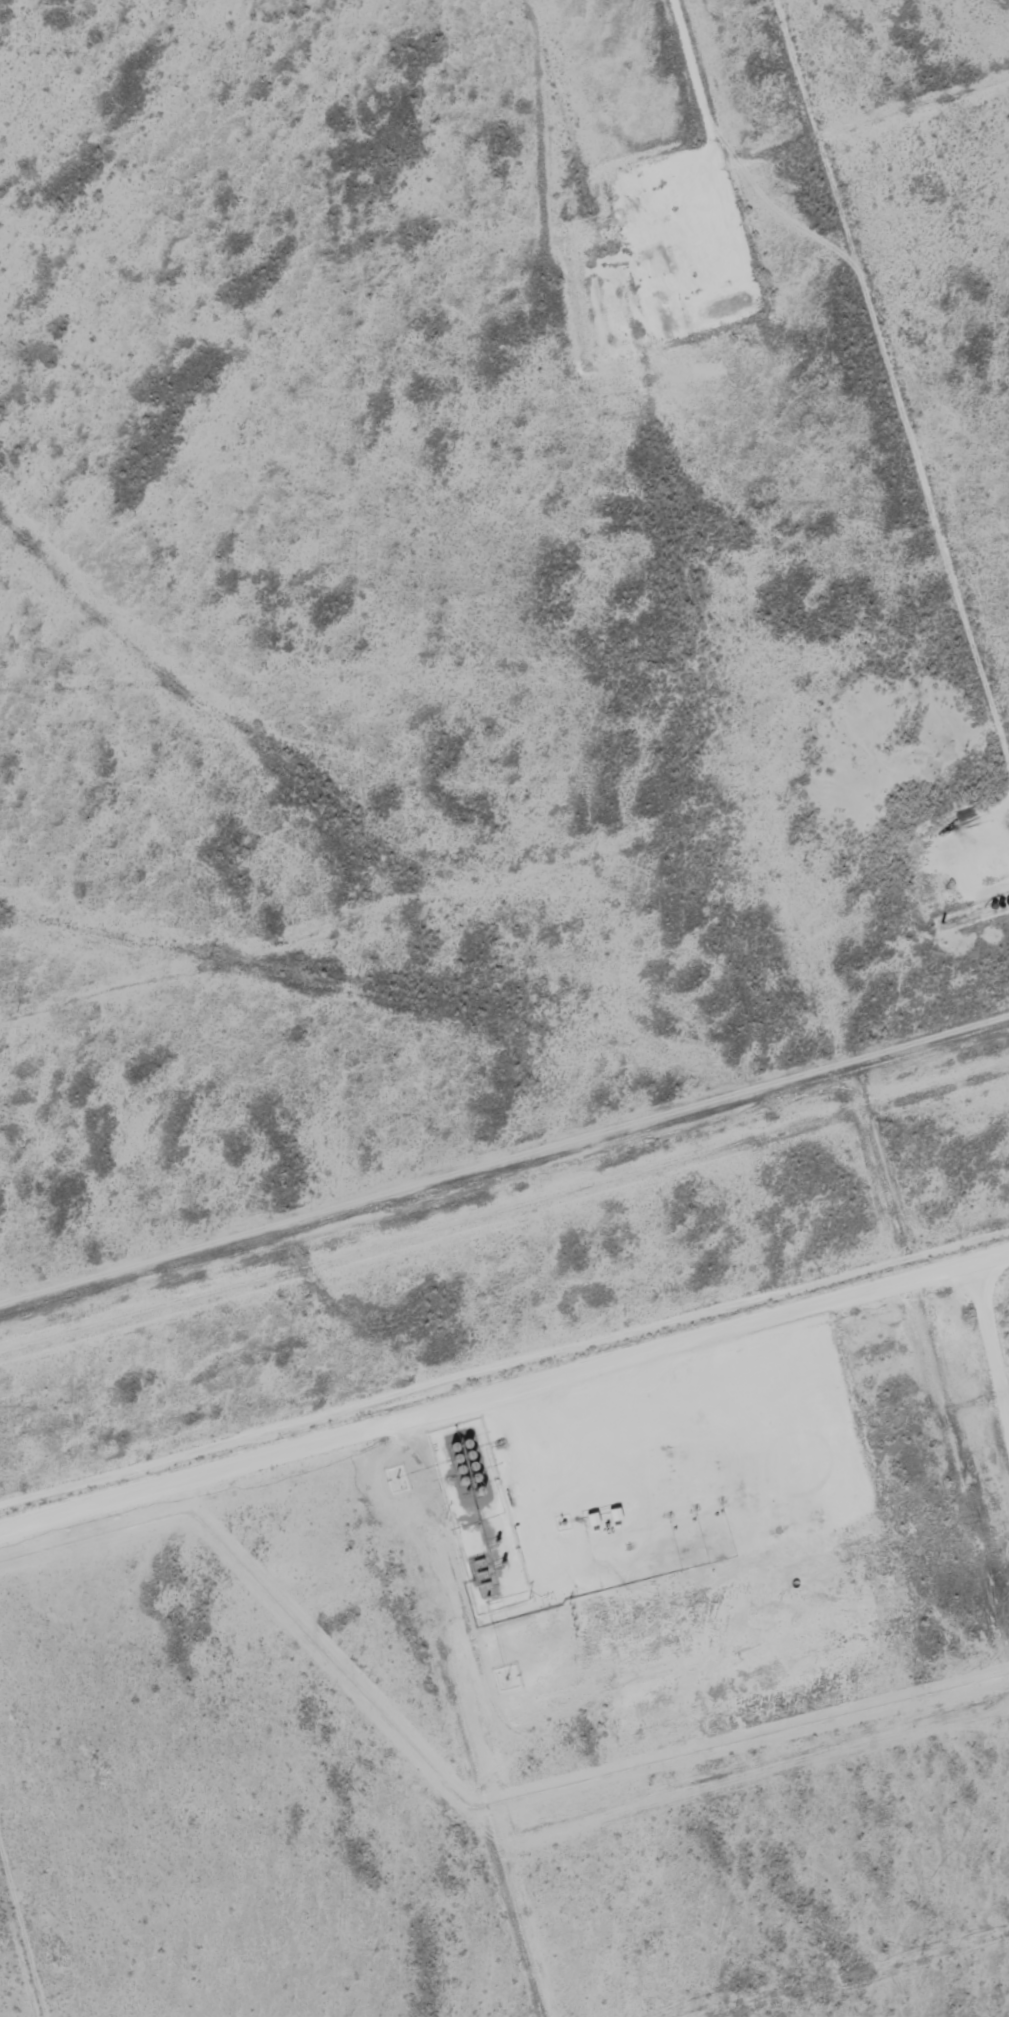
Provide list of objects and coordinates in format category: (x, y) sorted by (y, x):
road: (501, 1364)

